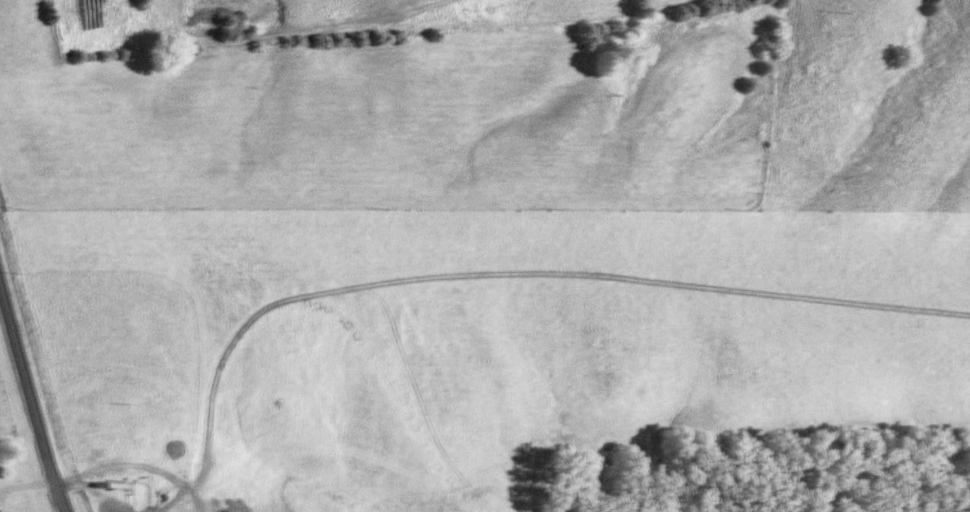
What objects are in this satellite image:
road: (29, 400)

